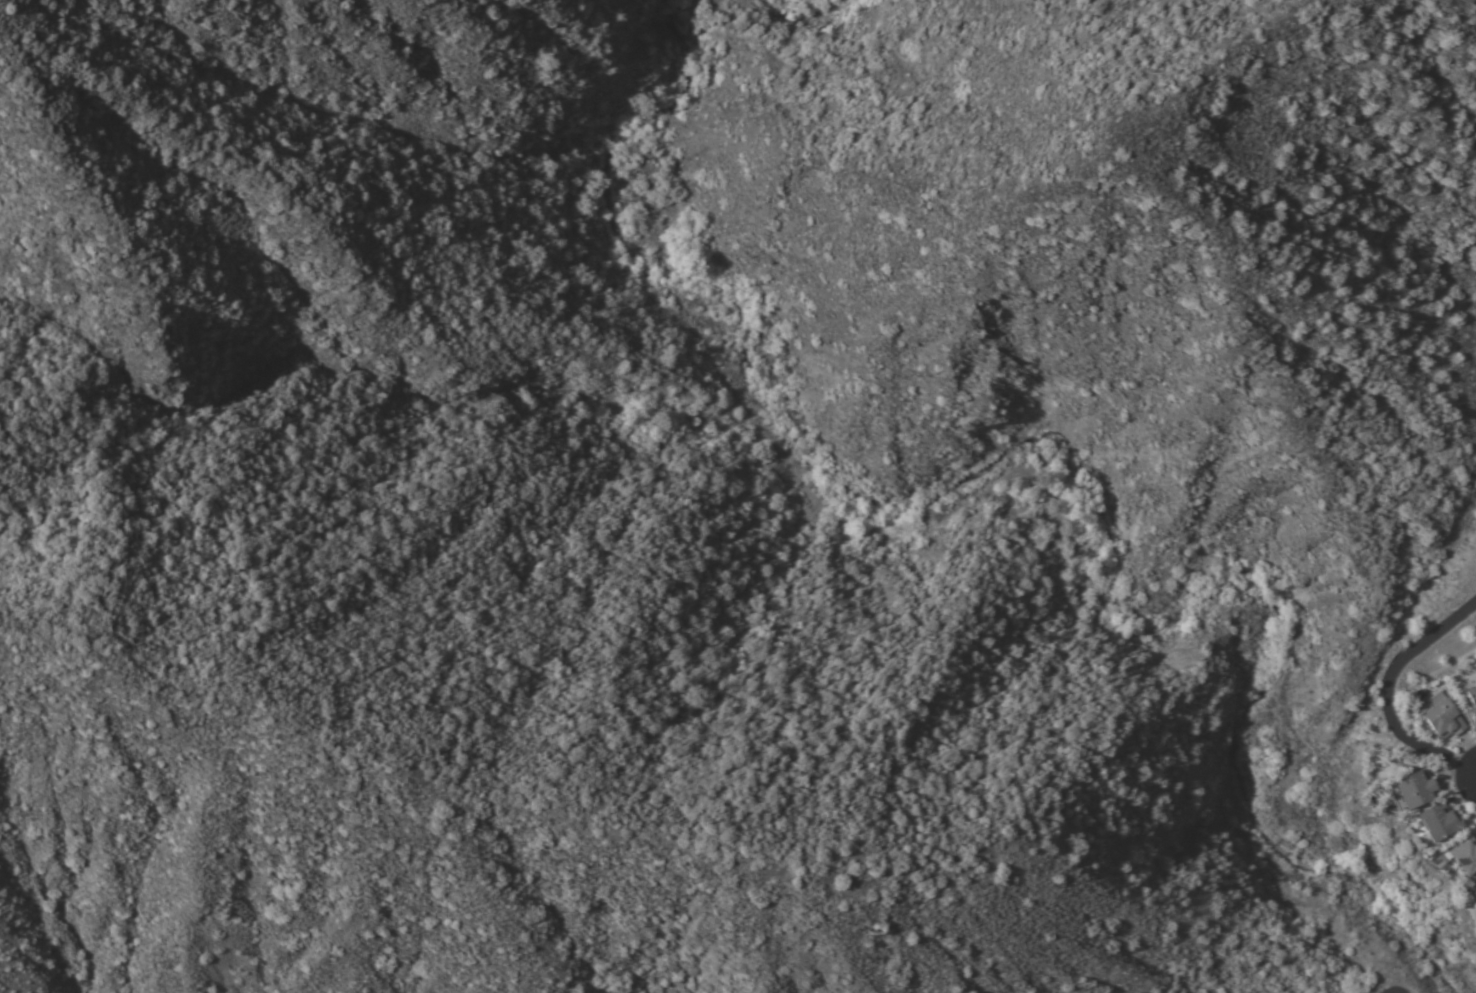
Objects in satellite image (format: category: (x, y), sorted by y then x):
road: (1380, 677)
building: (1472, 701)
building: (1442, 716)
road: (1459, 774)
building: (1411, 790)
building: (1438, 821)
building: (1464, 855)
building: (1474, 894)

